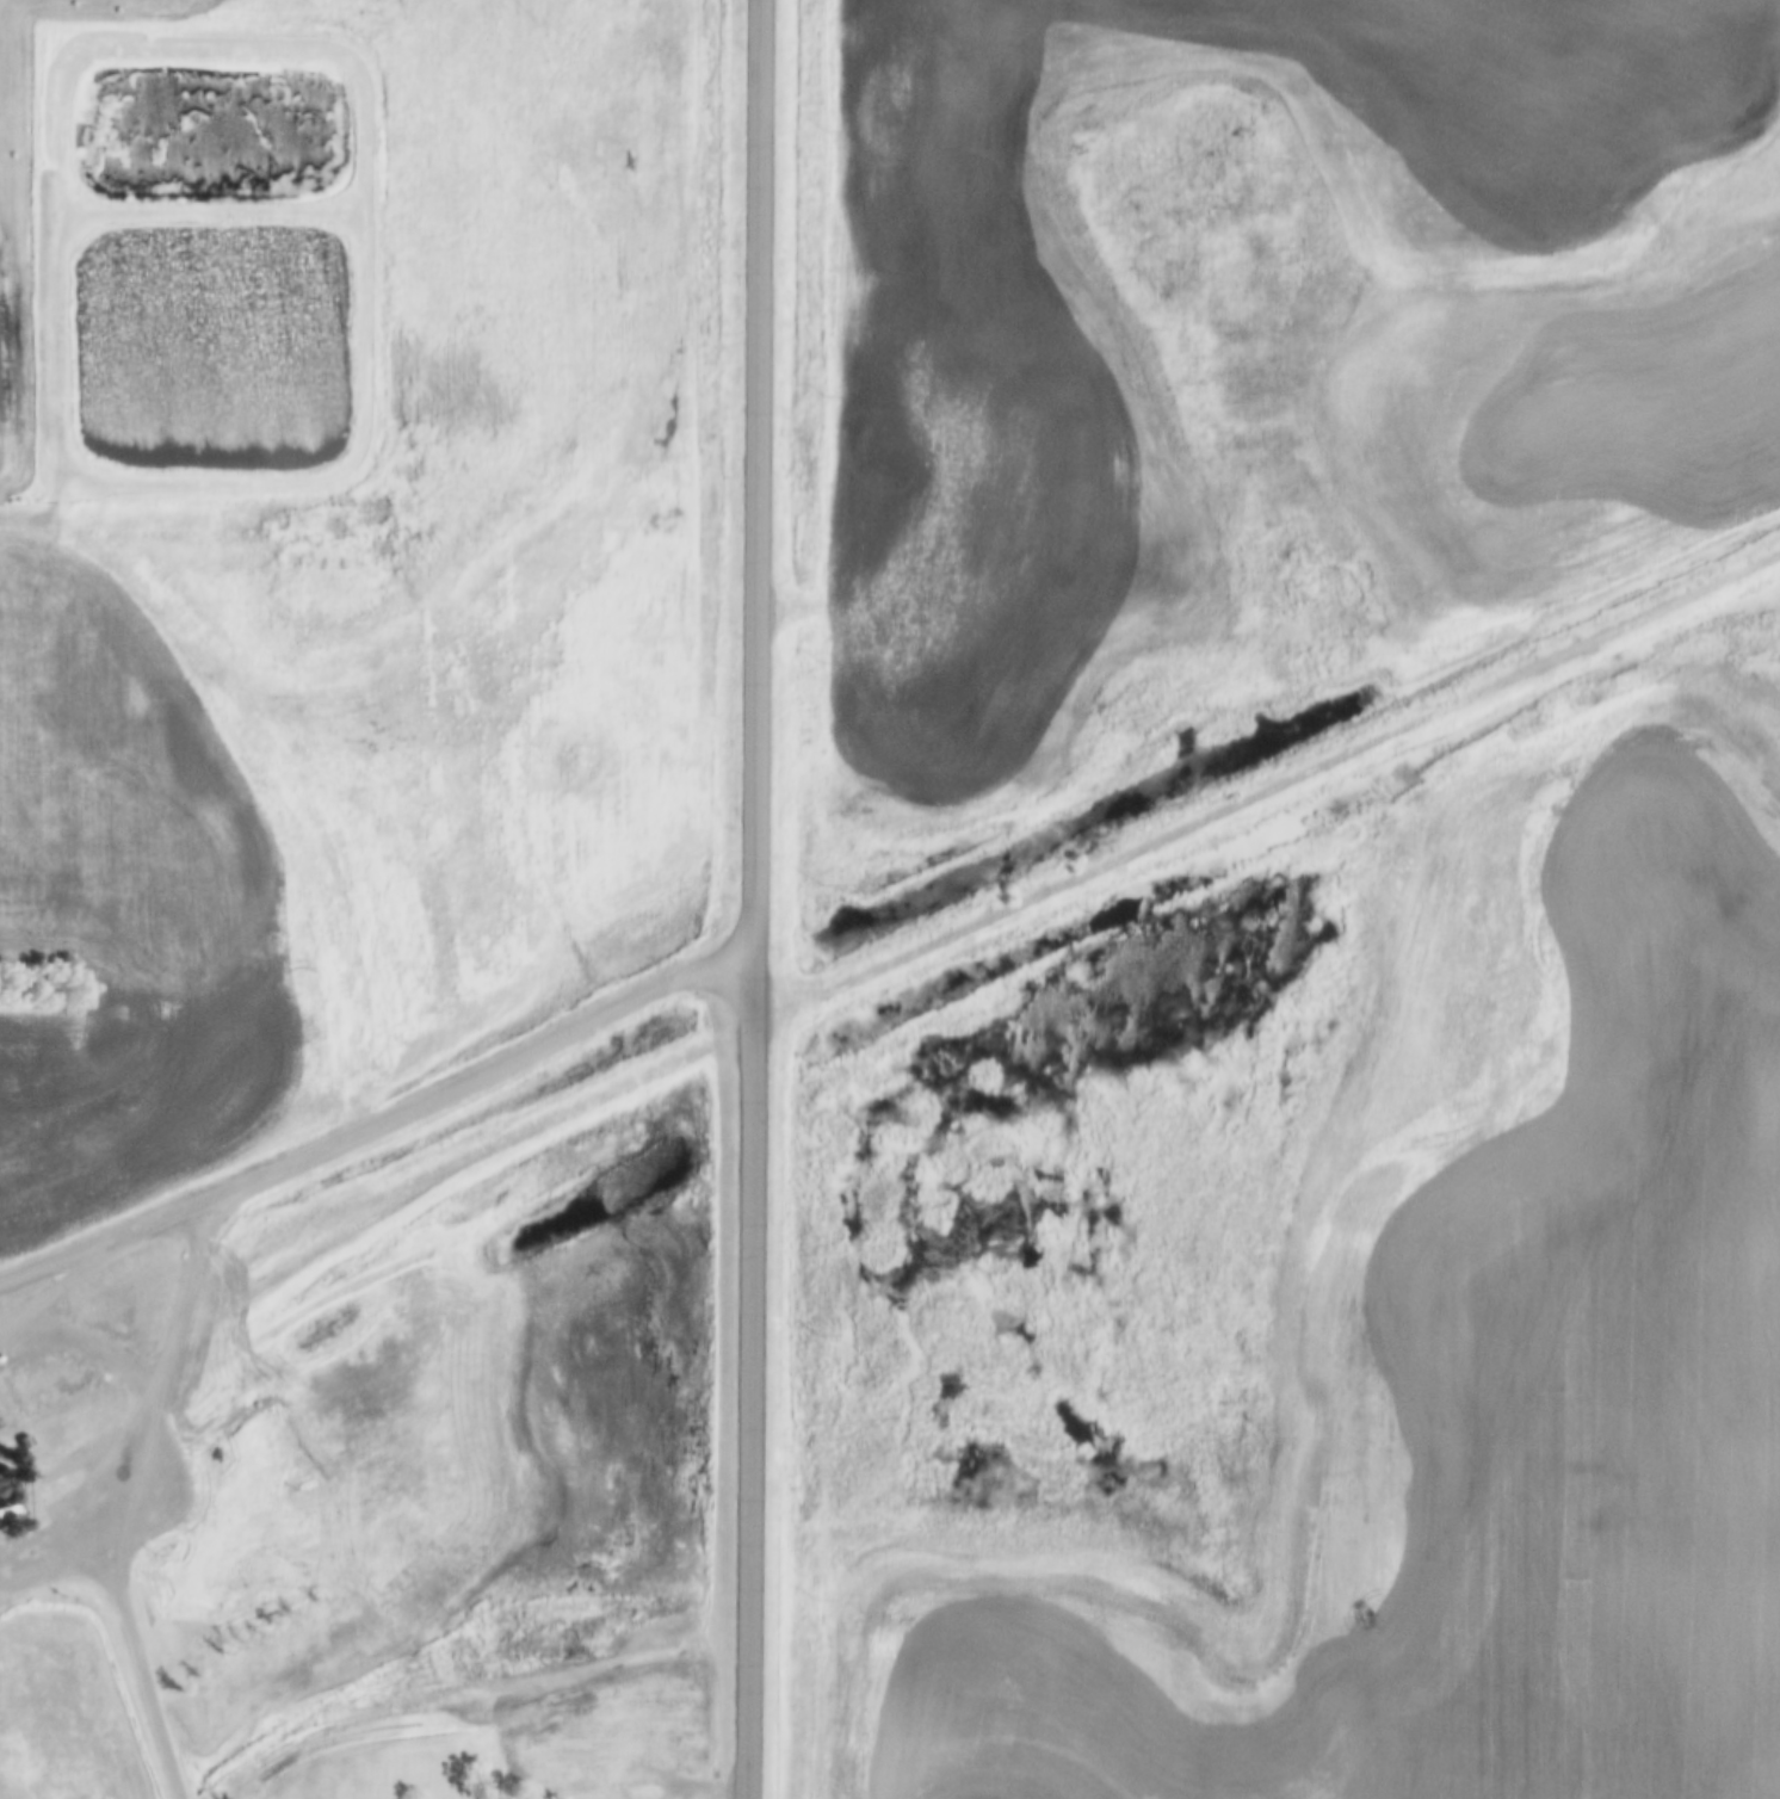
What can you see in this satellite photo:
road: (752, 898)
road: (381, 1125)
road: (146, 1389)
building: (0, 1489)
silo: (0, 1489)
building: (4, 1501)
silo: (4, 1501)
building: (14, 1526)
silo: (14, 1526)
building: (2, 1532)
silo: (2, 1532)
road: (51, 1572)
road: (147, 1686)
building: (661, 1751)

